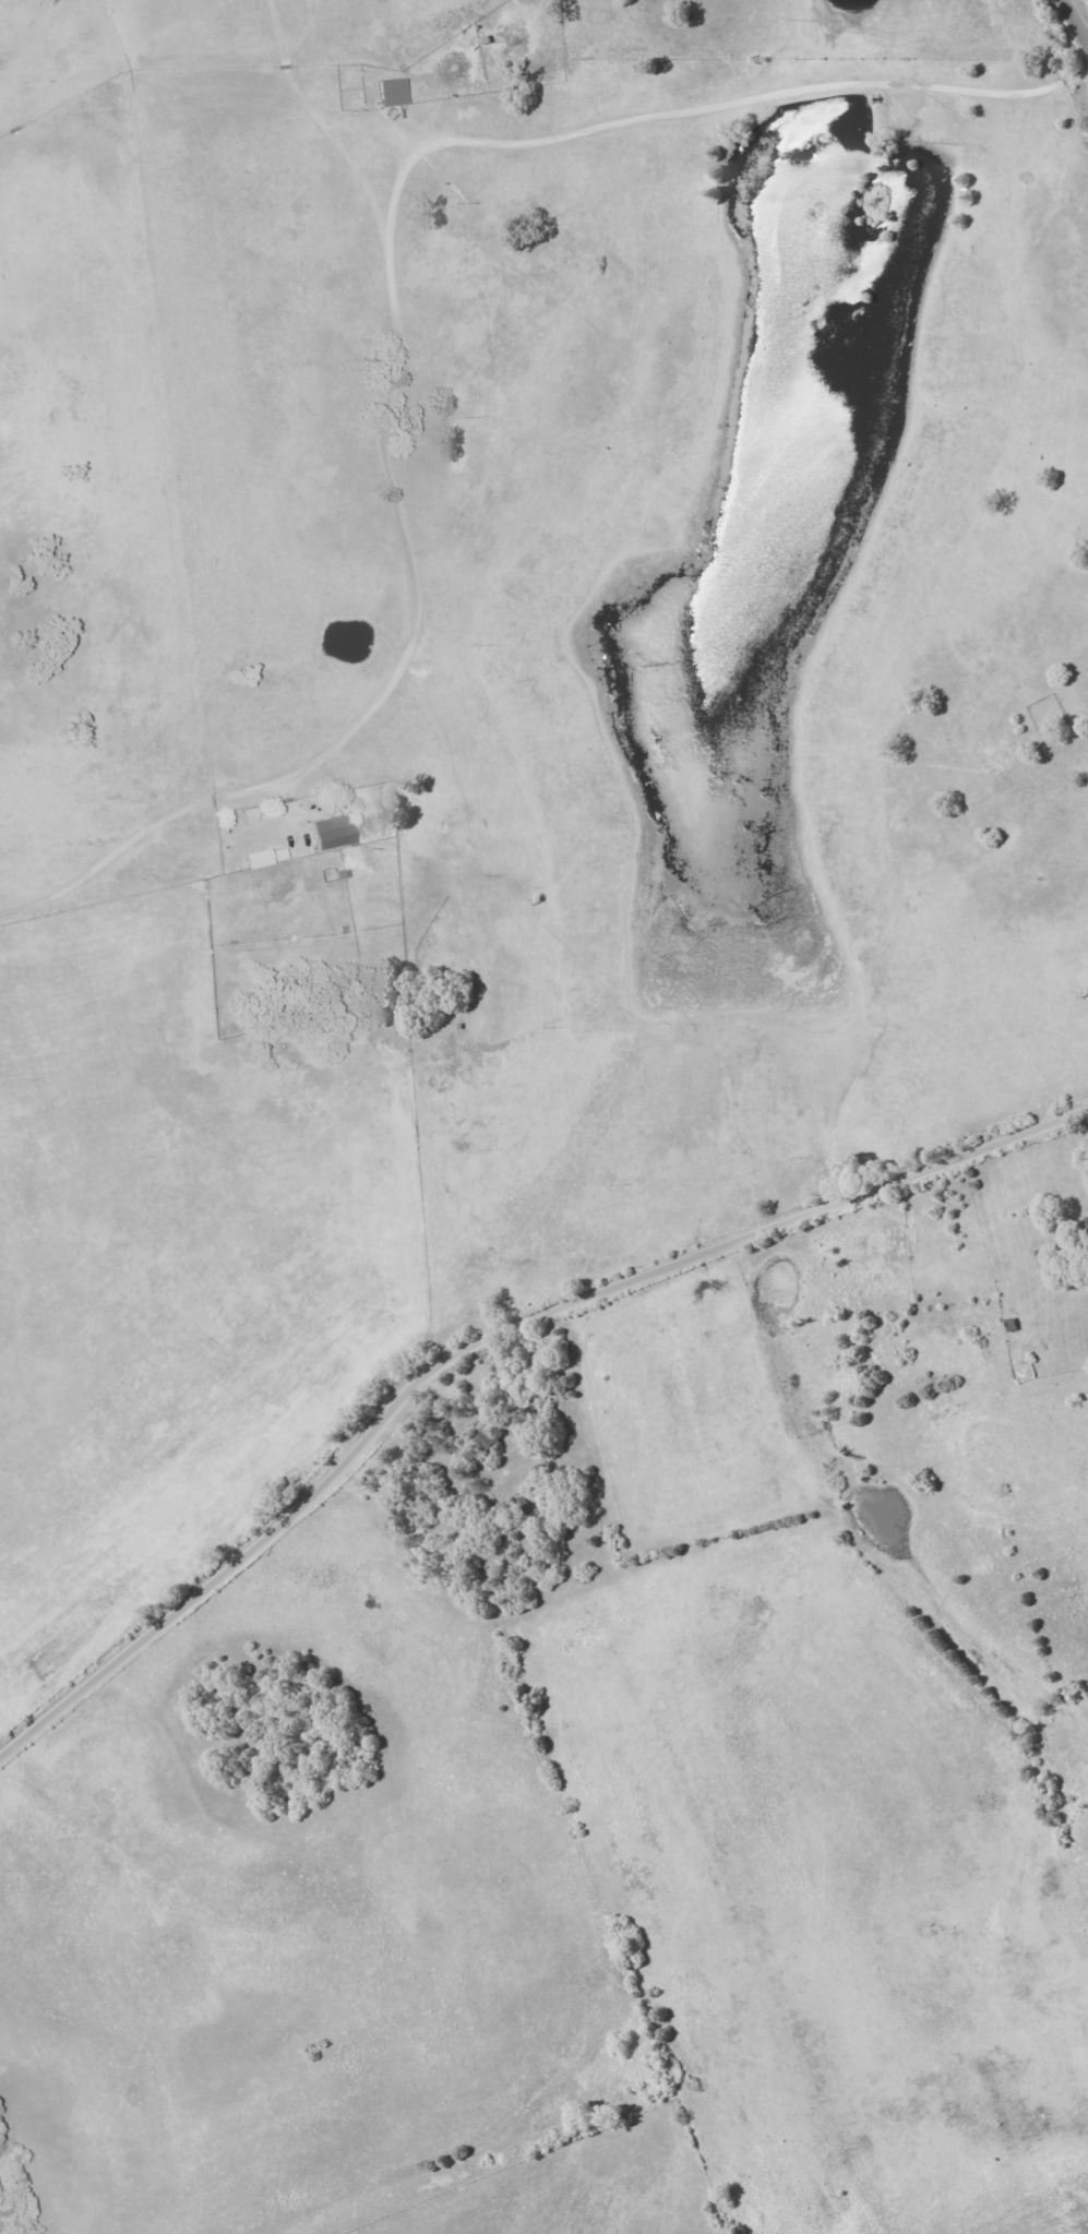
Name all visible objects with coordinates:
road: (1076, 20)
road: (392, 315)
park: (1047, 712)
building: (327, 832)
road: (482, 1335)

